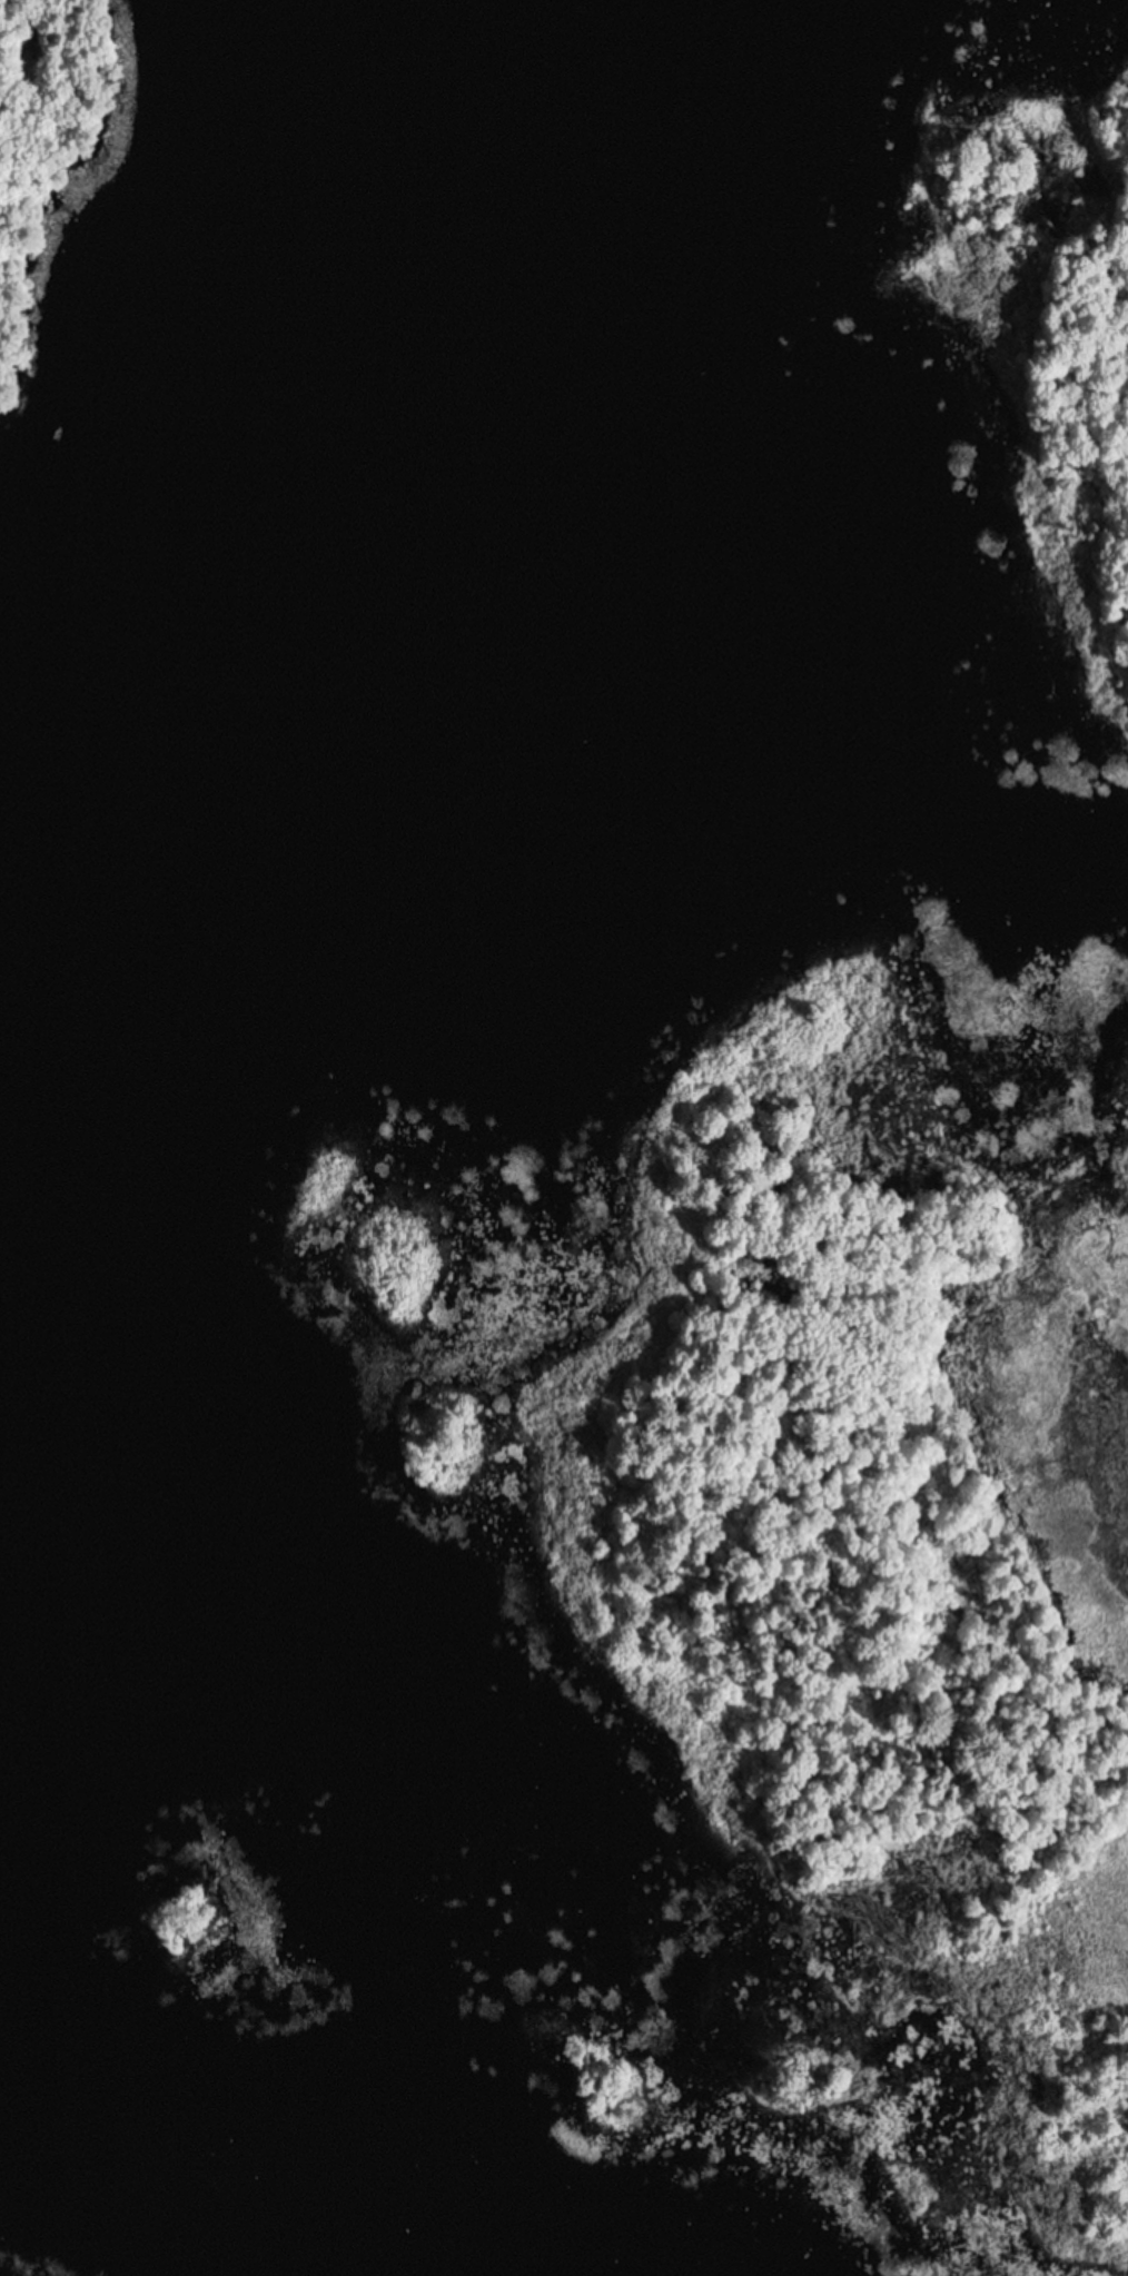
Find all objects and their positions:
river: (287, 617)
river: (22, 1686)

